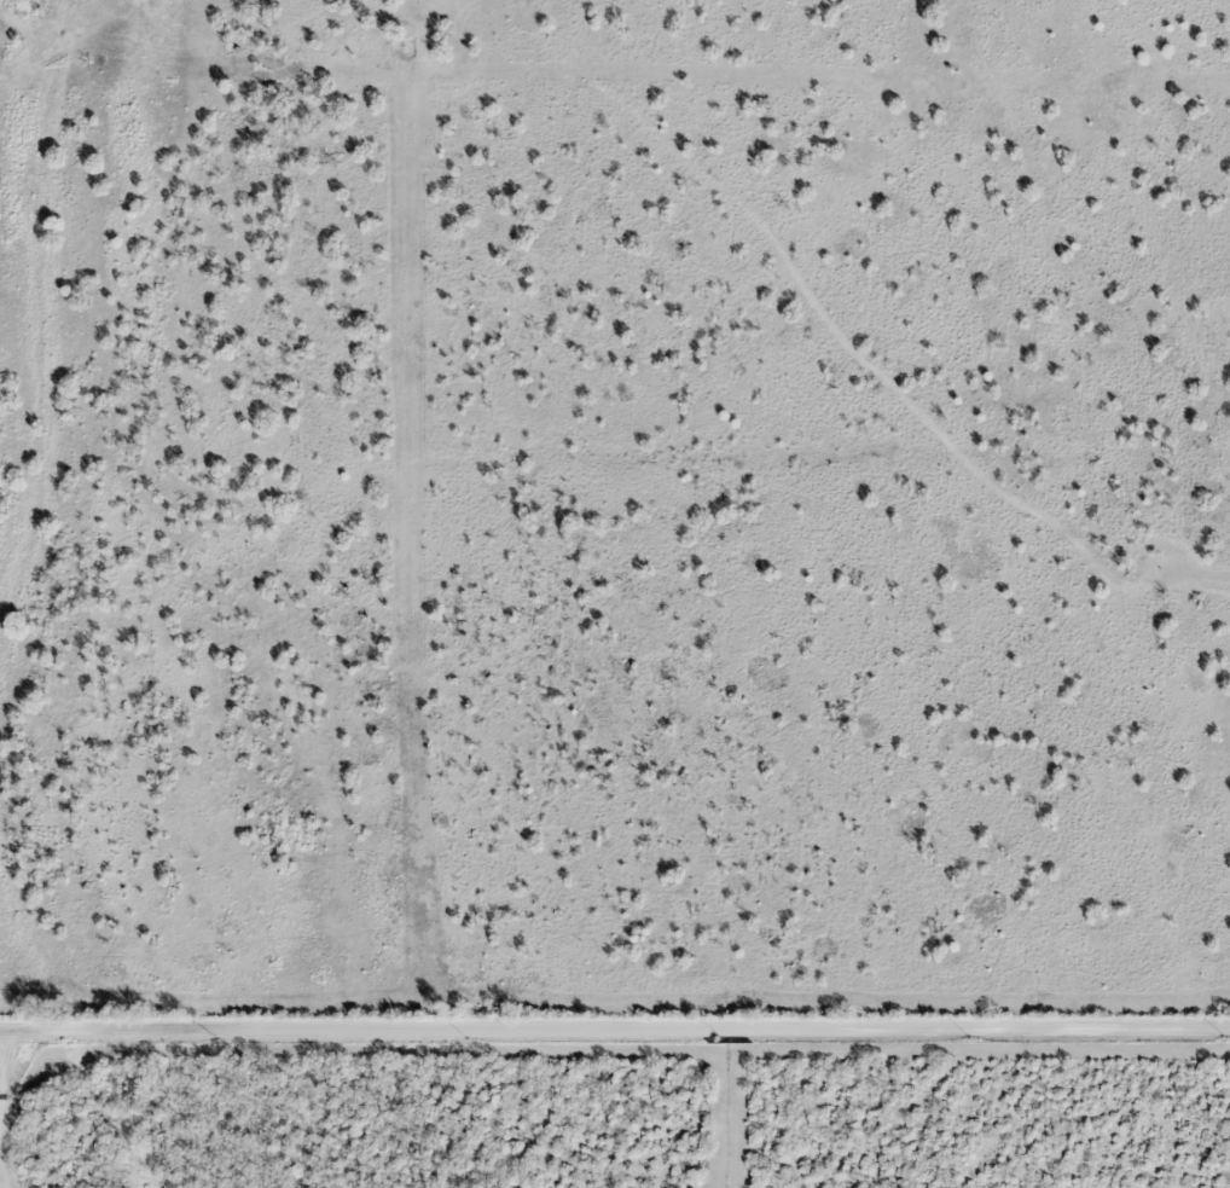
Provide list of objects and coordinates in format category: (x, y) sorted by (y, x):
road: (614, 1024)

